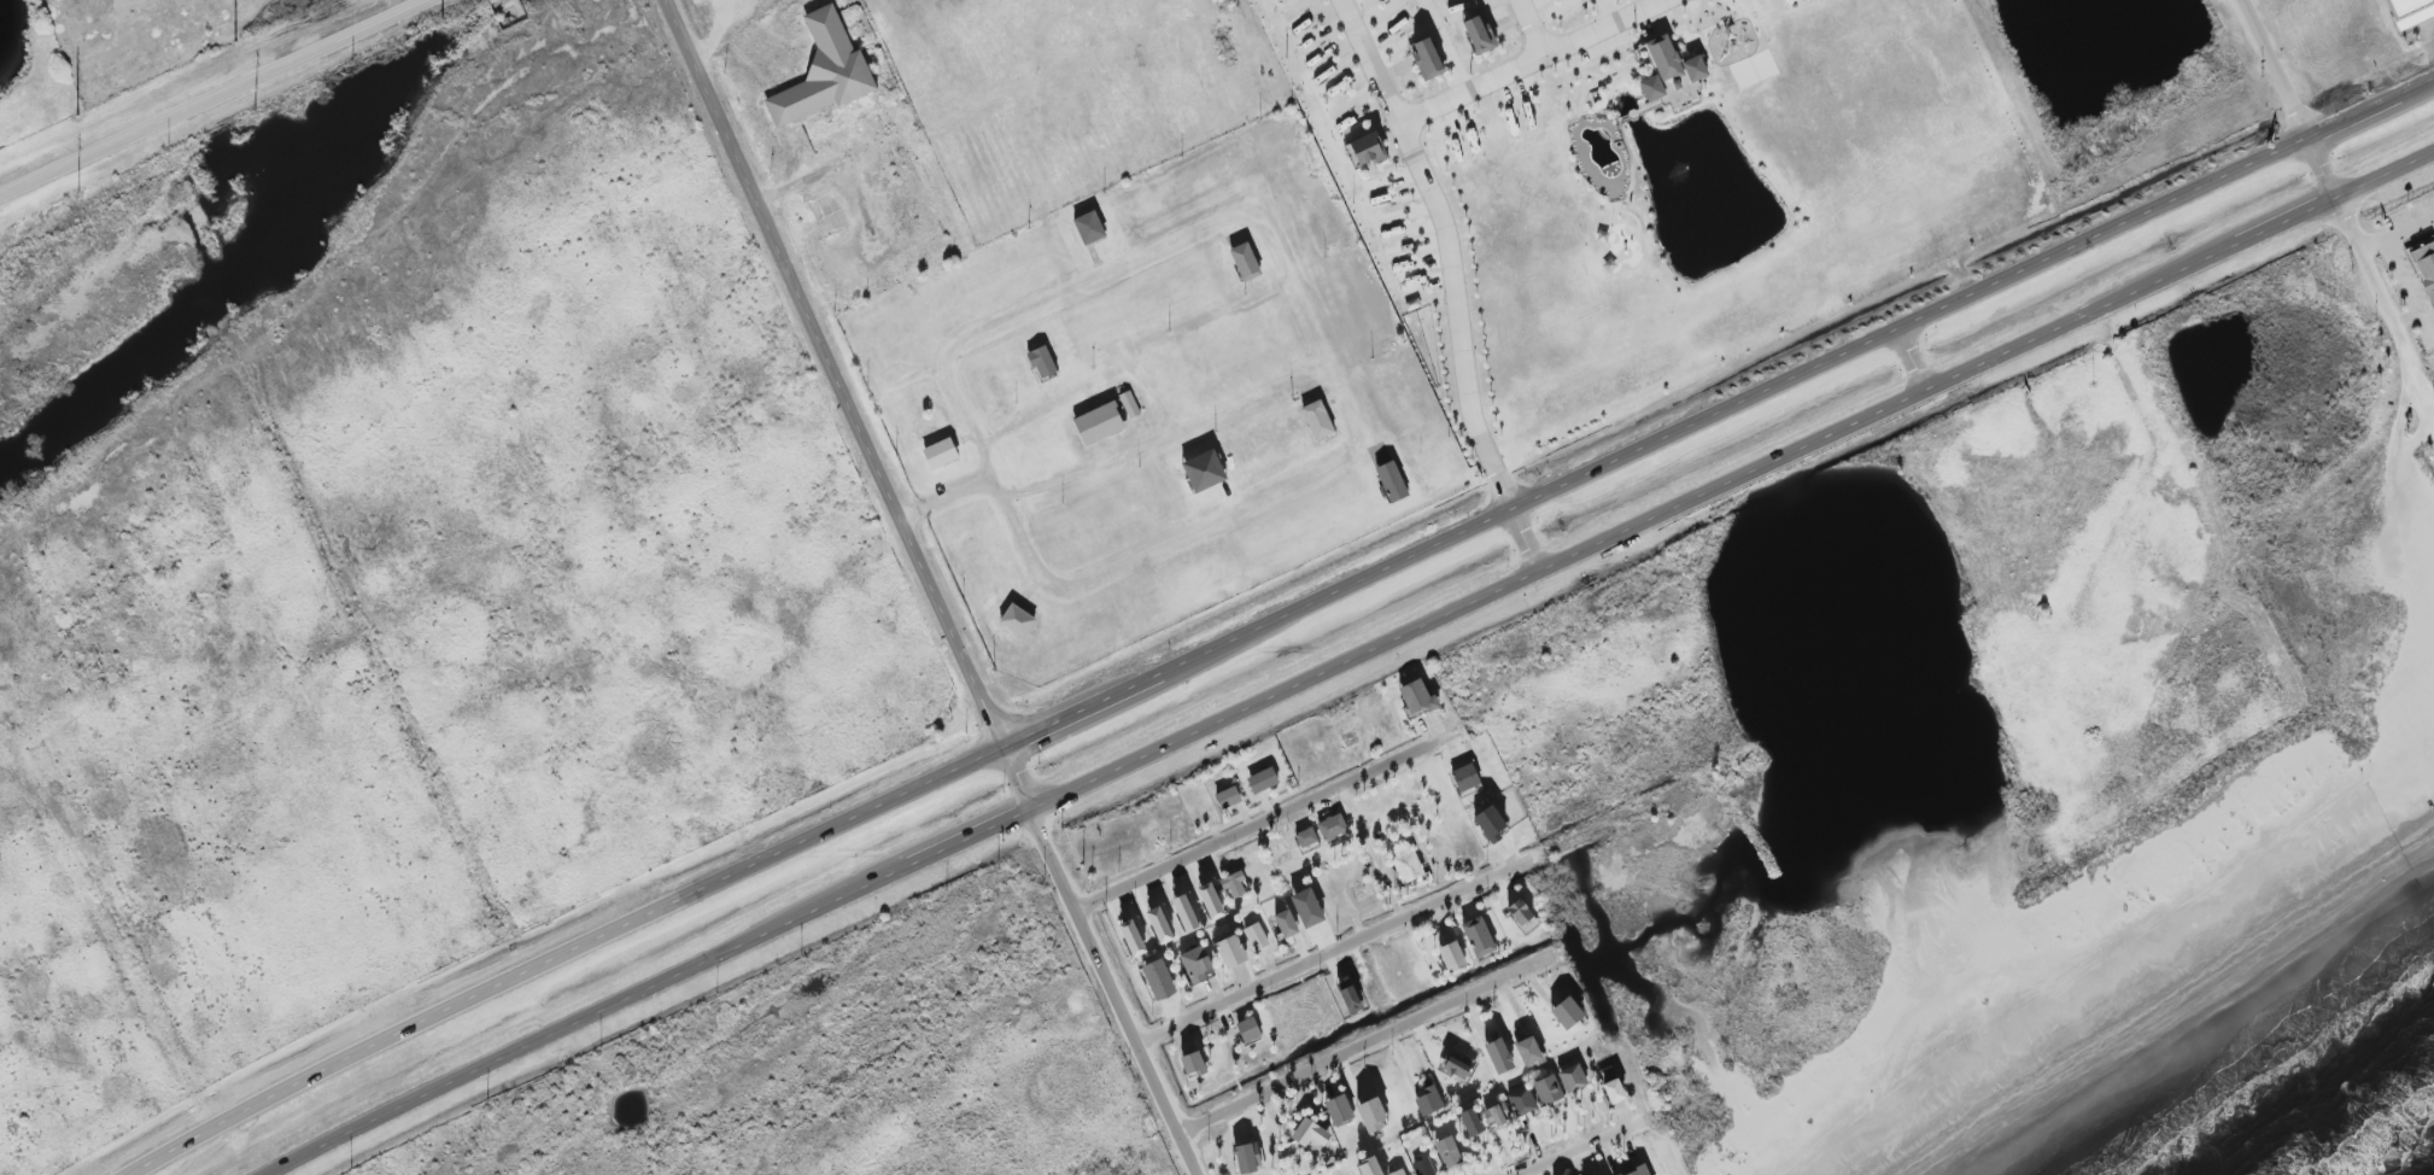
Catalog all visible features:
building: (2409, 12)
road: (1533, 28)
building: (1479, 35)
road: (1447, 46)
building: (1427, 59)
road: (1533, 63)
building: (824, 71)
building: (1671, 74)
road: (212, 97)
road: (2289, 100)
building: (1365, 151)
building: (1089, 228)
road: (2400, 247)
road: (1447, 249)
building: (1245, 262)
building: (2424, 267)
road: (1287, 287)
road: (2415, 297)
road: (2386, 302)
road: (1909, 359)
building: (1041, 362)
road: (844, 402)
building: (1317, 420)
building: (1099, 425)
building: (941, 454)
road: (2155, 462)
building: (1204, 472)
building: (1392, 483)
road: (1523, 539)
road: (1277, 619)
building: (1017, 621)
road: (1347, 655)
building: (1417, 700)
building: (1467, 779)
building: (1263, 781)
building: (1228, 799)
building: (1490, 824)
building: (1332, 828)
road: (1250, 829)
building: (1307, 841)
building: (1408, 866)
building: (1235, 884)
building: (1210, 901)
building: (1307, 908)
building: (1184, 913)
building: (1522, 917)
building: (1286, 924)
building: (1159, 925)
building: (1256, 937)
building: (1478, 937)
building: (1131, 939)
building: (1230, 952)
building: (1451, 957)
road: (1312, 963)
building: (1196, 965)
building: (1158, 980)
road: (1113, 990)
building: (1351, 1000)
building: (1567, 1013)
building: (1248, 1030)
road: (1368, 1045)
building: (1528, 1051)
building: (1499, 1057)
building: (1193, 1065)
building: (1456, 1069)
building: (1572, 1078)
building: (1547, 1091)
building: (1614, 1092)
building: (1428, 1101)
building: (1522, 1103)
building: (1339, 1110)
building: (1371, 1113)
building: (1497, 1117)
building: (1470, 1123)
building: (1310, 1134)
building: (1447, 1152)
road: (1576, 1152)
building: (1248, 1158)
building: (1369, 1167)
building: (1423, 1168)
building: (1638, 1171)
building: (1398, 1173)

